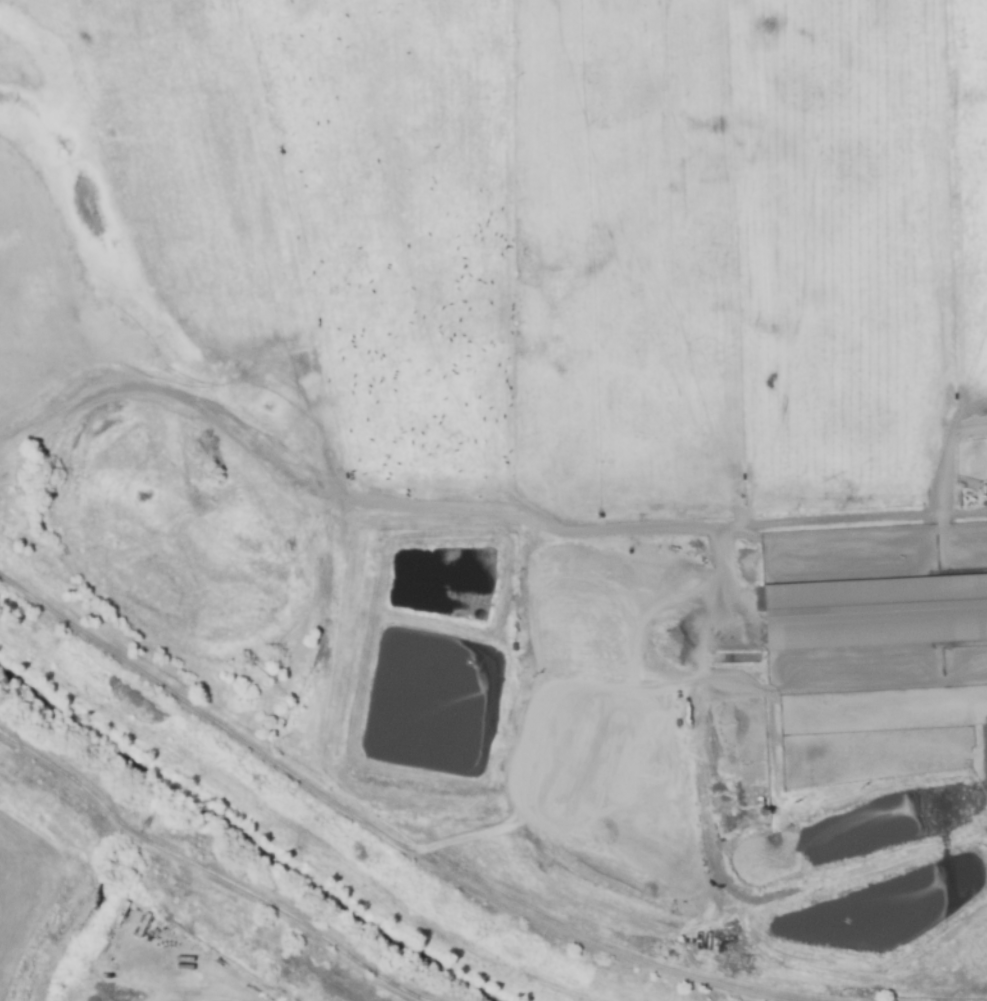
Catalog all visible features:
road: (859, 517)
building: (875, 613)
road: (558, 879)

